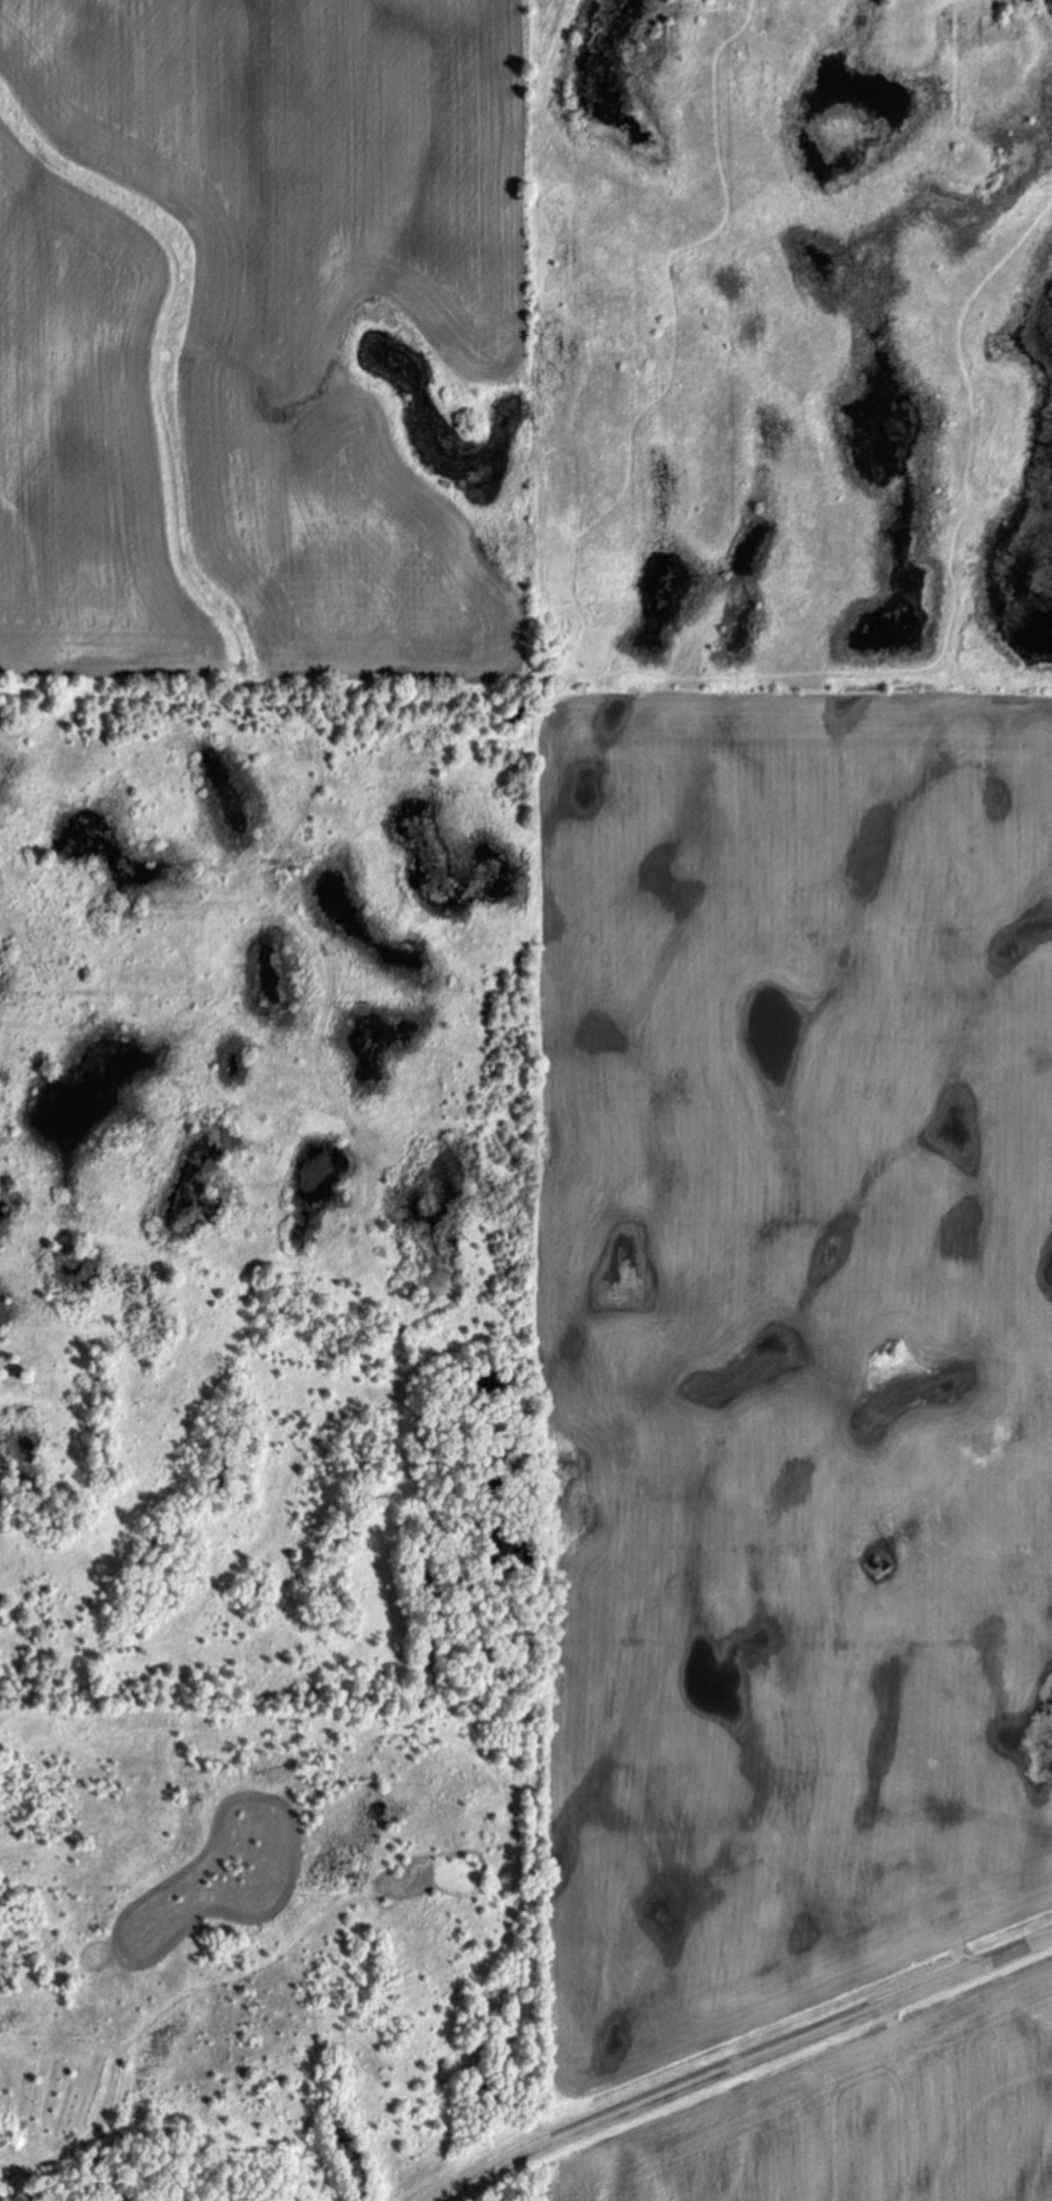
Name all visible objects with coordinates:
road: (741, 2061)

